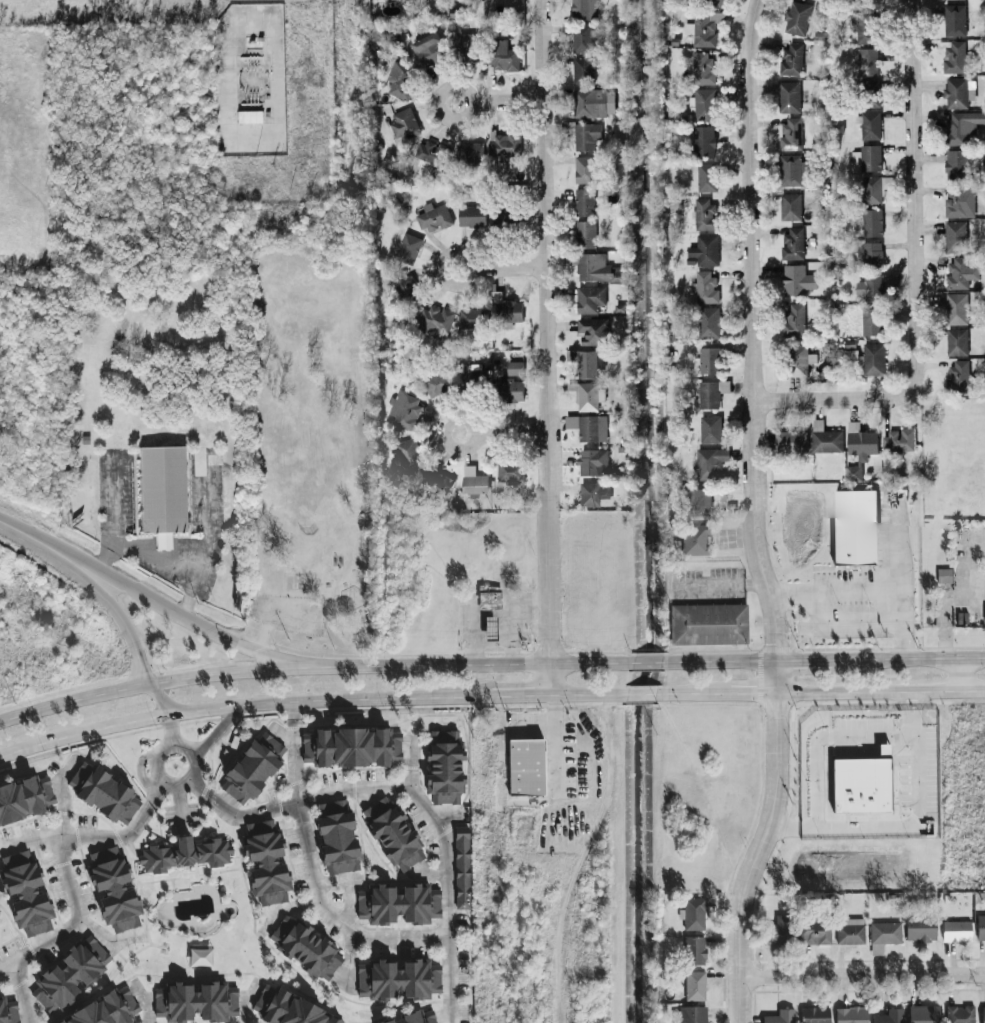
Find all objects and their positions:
building: (715, 1)
building: (583, 8)
building: (796, 17)
building: (953, 19)
building: (863, 26)
building: (703, 27)
building: (581, 37)
building: (429, 49)
building: (502, 56)
building: (956, 56)
building: (791, 59)
building: (866, 59)
road: (231, 63)
building: (701, 68)
building: (582, 70)
building: (398, 79)
wastewater plant: (245, 84)
building: (958, 92)
building: (872, 93)
building: (789, 96)
road: (503, 100)
building: (593, 102)
building: (704, 103)
road: (441, 112)
building: (247, 116)
building: (403, 123)
building: (868, 124)
building: (955, 128)
building: (790, 134)
building: (585, 135)
building: (703, 140)
building: (503, 142)
building: (433, 152)
building: (470, 152)
building: (870, 157)
building: (954, 163)
building: (584, 169)
building: (789, 170)
building: (705, 176)
building: (874, 188)
building: (584, 201)
building: (959, 201)
road: (915, 202)
building: (789, 206)
building: (704, 214)
building: (471, 215)
building: (502, 215)
building: (433, 217)
building: (871, 222)
building: (584, 233)
building: (954, 236)
building: (792, 243)
building: (408, 247)
building: (703, 250)
building: (871, 253)
road: (466, 260)
road: (505, 267)
building: (596, 267)
building: (960, 272)
building: (796, 279)
building: (404, 285)
building: (704, 286)
building: (868, 287)
building: (588, 298)
building: (504, 308)
building: (956, 308)
building: (471, 317)
building: (792, 318)
building: (433, 320)
building: (870, 320)
building: (708, 321)
building: (592, 330)
road: (542, 332)
building: (956, 341)
building: (851, 353)
building: (707, 358)
building: (872, 358)
building: (798, 359)
building: (587, 361)
building: (514, 366)
building: (471, 372)
building: (957, 375)
building: (437, 382)
building: (509, 389)
building: (710, 392)
building: (586, 394)
road: (823, 397)
building: (404, 409)
building: (587, 426)
building: (709, 428)
road: (503, 431)
building: (824, 438)
building: (898, 439)
building: (790, 440)
building: (858, 446)
building: (407, 451)
building: (592, 461)
building: (709, 461)
building: (508, 469)
building: (438, 480)
building: (160, 491)
building: (593, 493)
building: (693, 502)
road: (114, 514)
road: (754, 515)
building: (854, 527)
road: (204, 534)
building: (695, 541)
road: (160, 543)
road: (45, 546)
road: (165, 562)
road: (966, 567)
building: (945, 578)
road: (722, 585)
road: (856, 591)
building: (490, 597)
road: (944, 619)
building: (709, 625)
road: (888, 631)
road: (215, 635)
road: (132, 643)
road: (905, 645)
road: (824, 662)
road: (589, 664)
road: (647, 664)
road: (449, 666)
road: (960, 675)
road: (547, 680)
road: (173, 681)
road: (882, 692)
road: (753, 693)
road: (694, 694)
road: (642, 695)
road: (519, 696)
road: (552, 696)
road: (590, 696)
road: (331, 699)
road: (173, 731)
road: (217, 732)
road: (85, 734)
road: (821, 738)
road: (410, 740)
road: (557, 746)
building: (352, 748)
building: (884, 750)
road: (294, 751)
road: (154, 768)
building: (527, 768)
building: (253, 769)
building: (445, 769)
building: (862, 787)
road: (412, 792)
building: (104, 794)
building: (25, 800)
road: (446, 818)
road: (908, 826)
building: (393, 835)
road: (94, 836)
building: (338, 839)
building: (185, 855)
building: (267, 863)
building: (463, 869)
road: (69, 886)
road: (350, 888)
building: (114, 890)
building: (27, 894)
building: (399, 905)
road: (288, 913)
building: (695, 915)
road: (332, 917)
building: (981, 929)
building: (781, 931)
building: (921, 931)
building: (957, 932)
building: (815, 933)
building: (851, 933)
building: (885, 933)
road: (106, 942)
building: (306, 949)
building: (695, 951)
road: (351, 963)
building: (71, 976)
road: (863, 976)
building: (398, 980)
building: (695, 987)
road: (21, 996)
road: (144, 1002)
building: (197, 1002)
road: (248, 1002)
building: (288, 1009)
building: (109, 1010)
building: (9, 1012)
building: (924, 1014)
building: (816, 1015)
building: (851, 1015)
building: (963, 1015)
building: (983, 1015)
building: (780, 1017)
building: (890, 1017)
building: (416, 1018)

